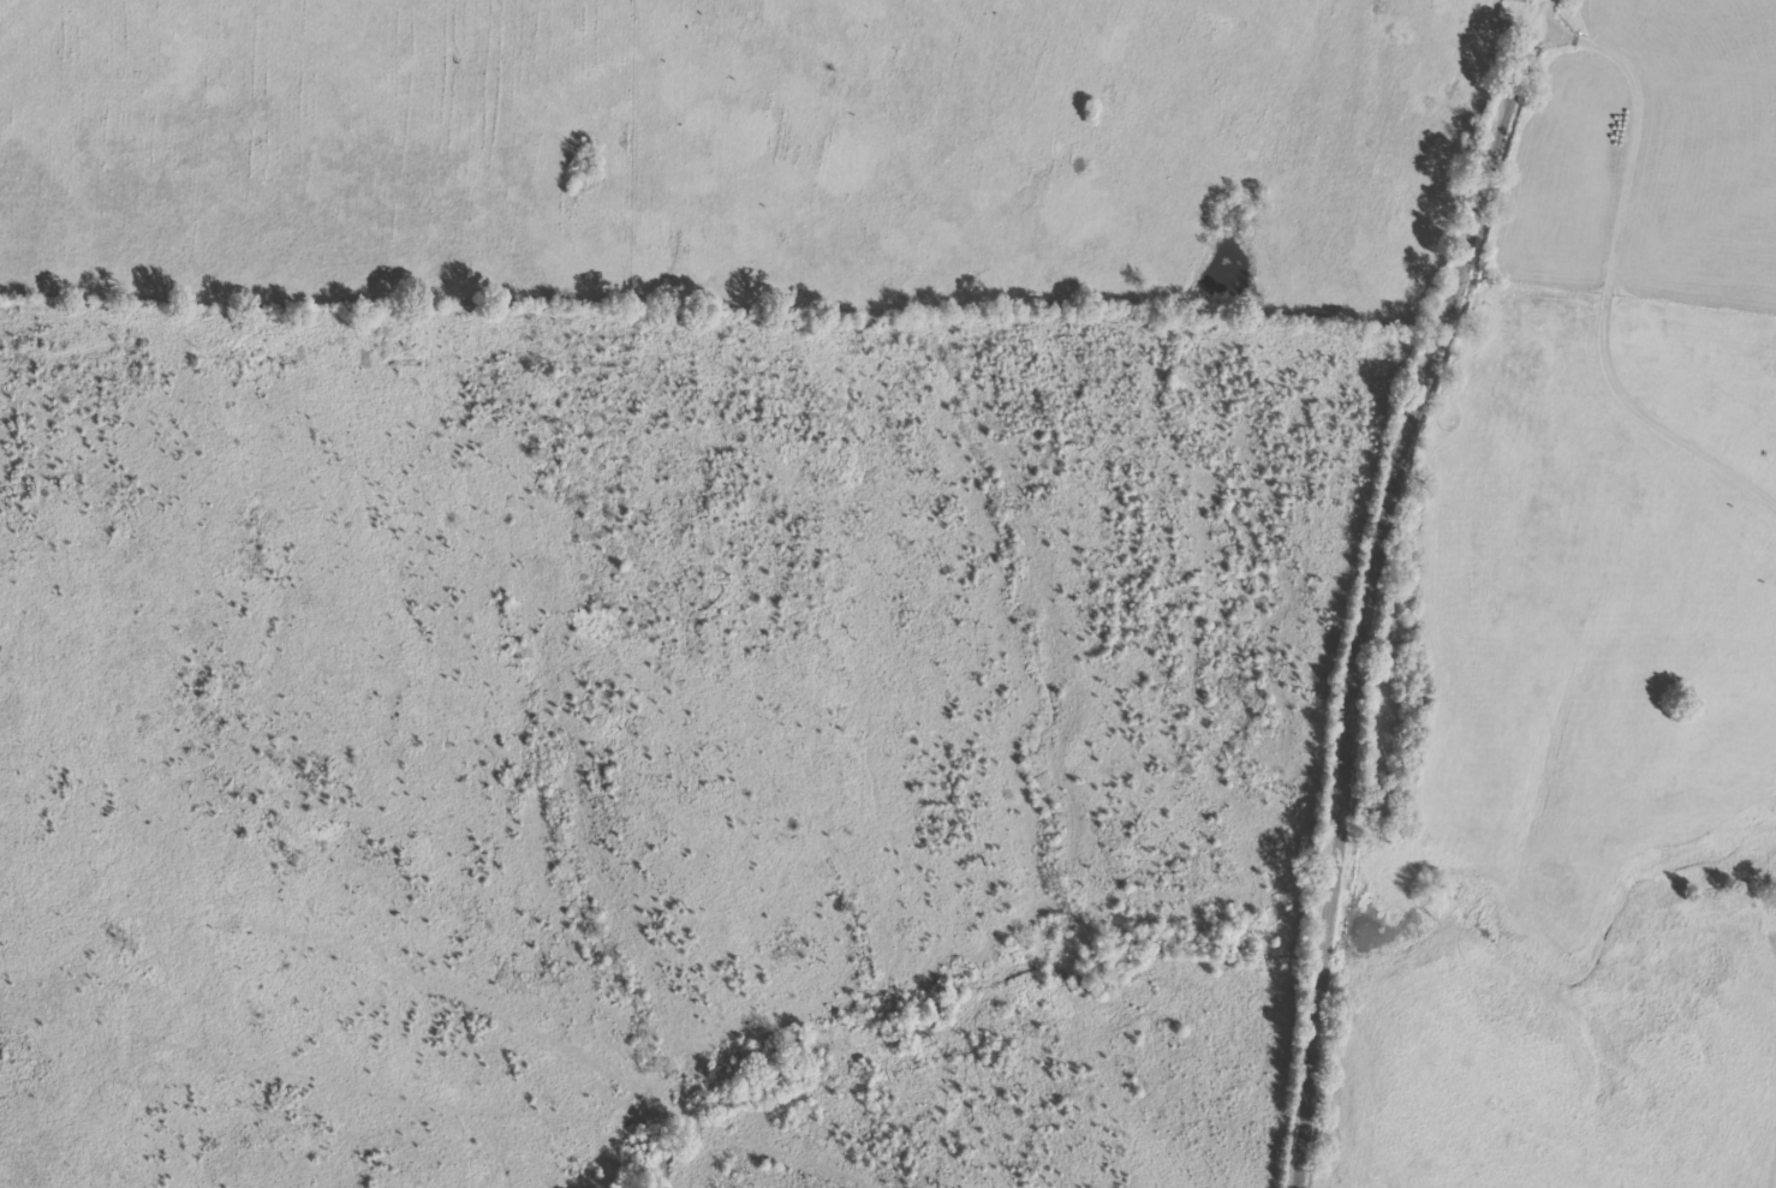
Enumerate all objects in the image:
road: (1371, 586)

